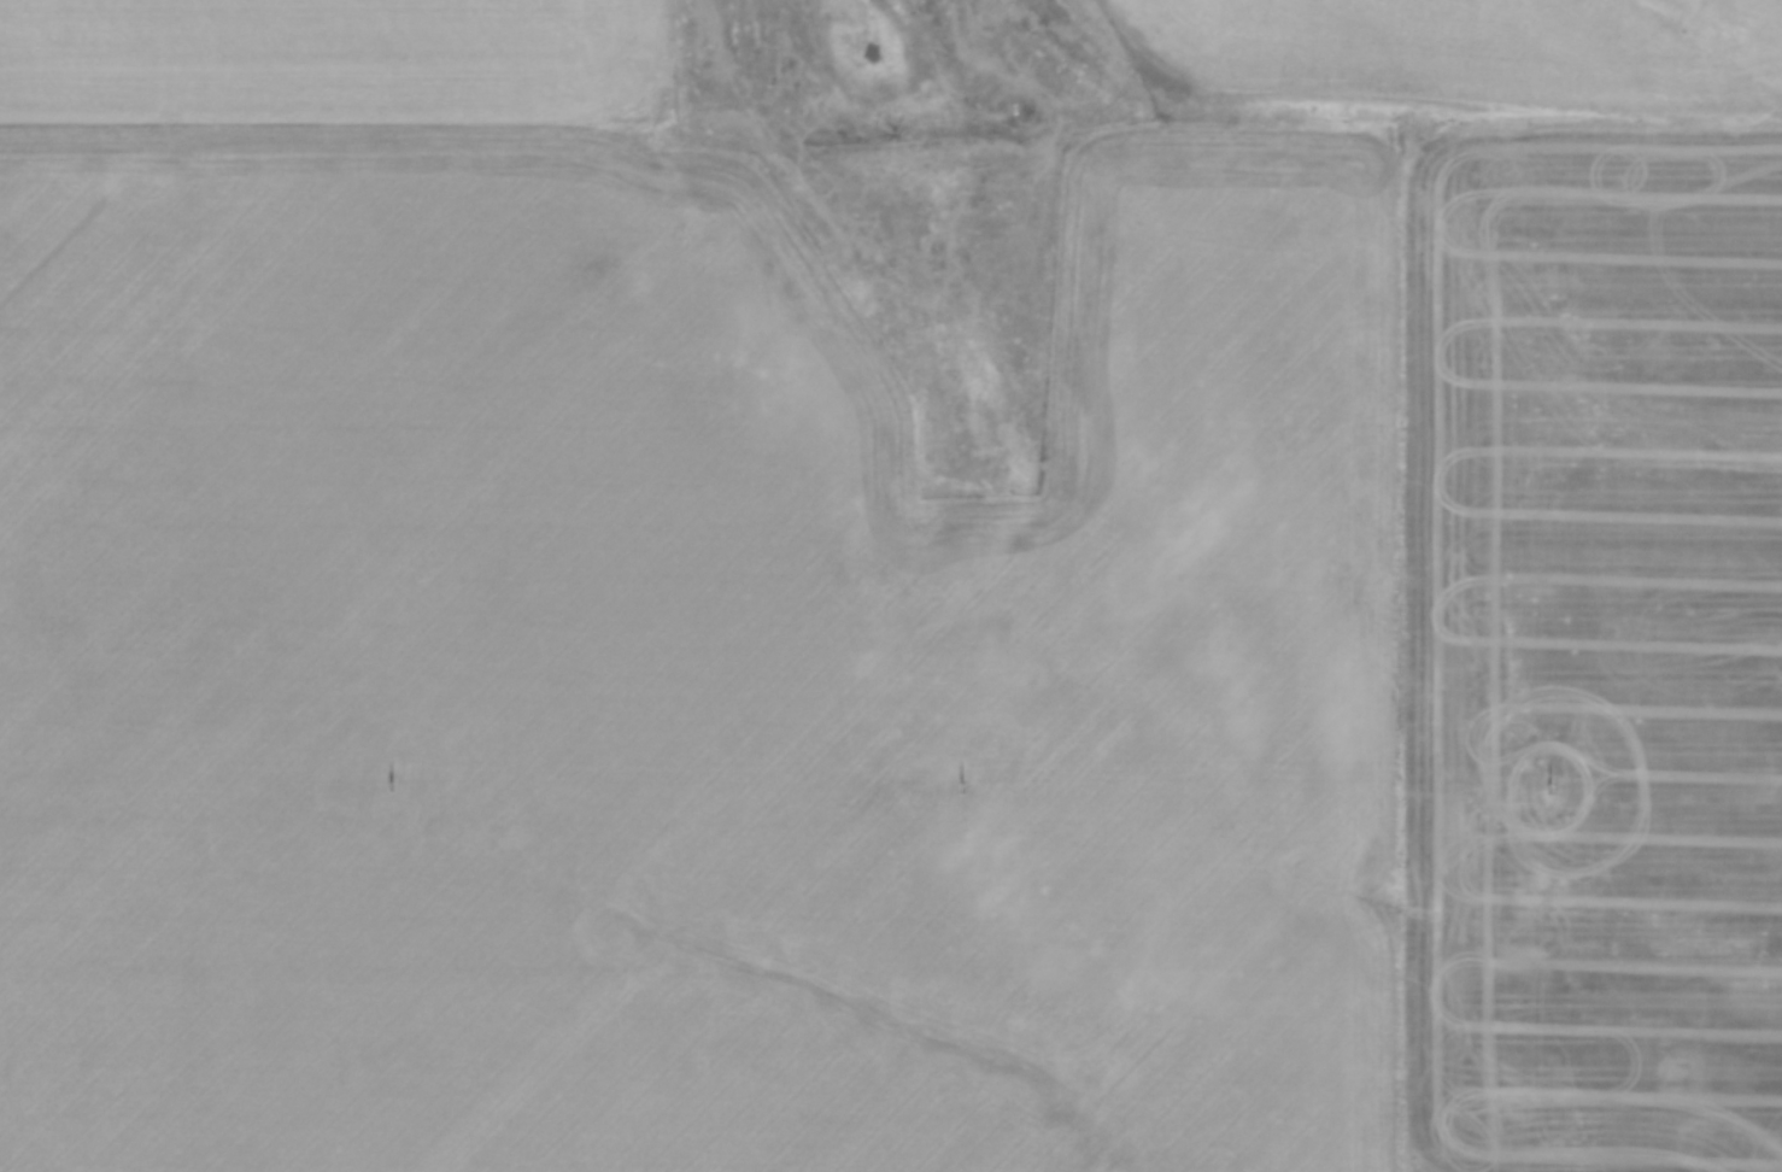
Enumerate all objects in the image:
crop: (1472, 46)
dam: (933, 147)
crop: (862, 638)
power tower: (393, 786)
power tower: (962, 787)
power tower: (1549, 787)

